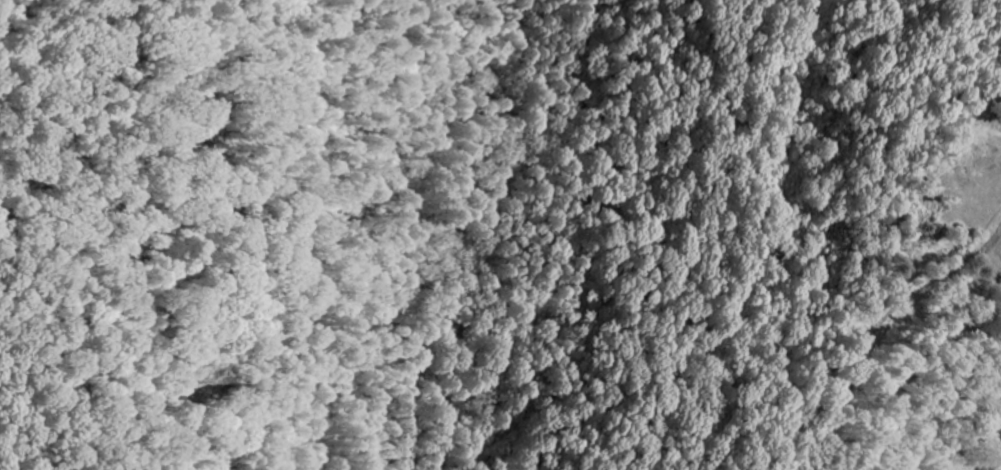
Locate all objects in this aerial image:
road: (885, 325)

